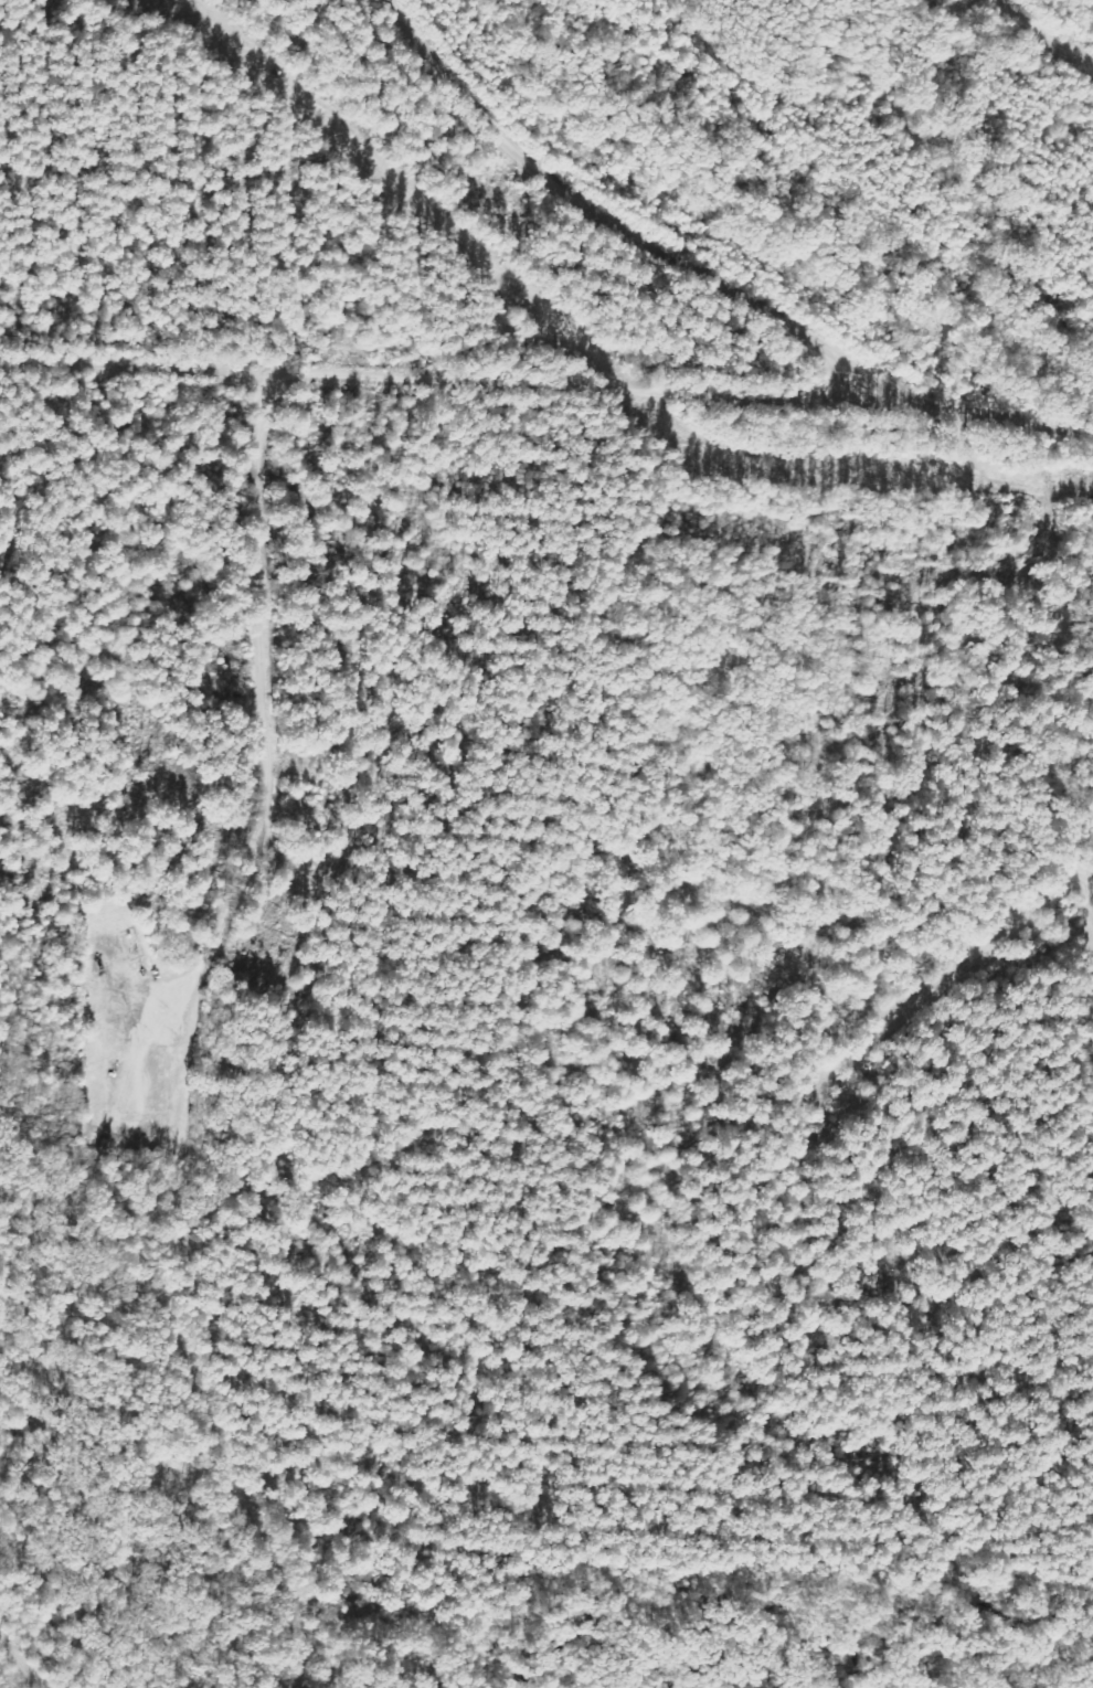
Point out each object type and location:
road: (707, 279)
road: (264, 423)

